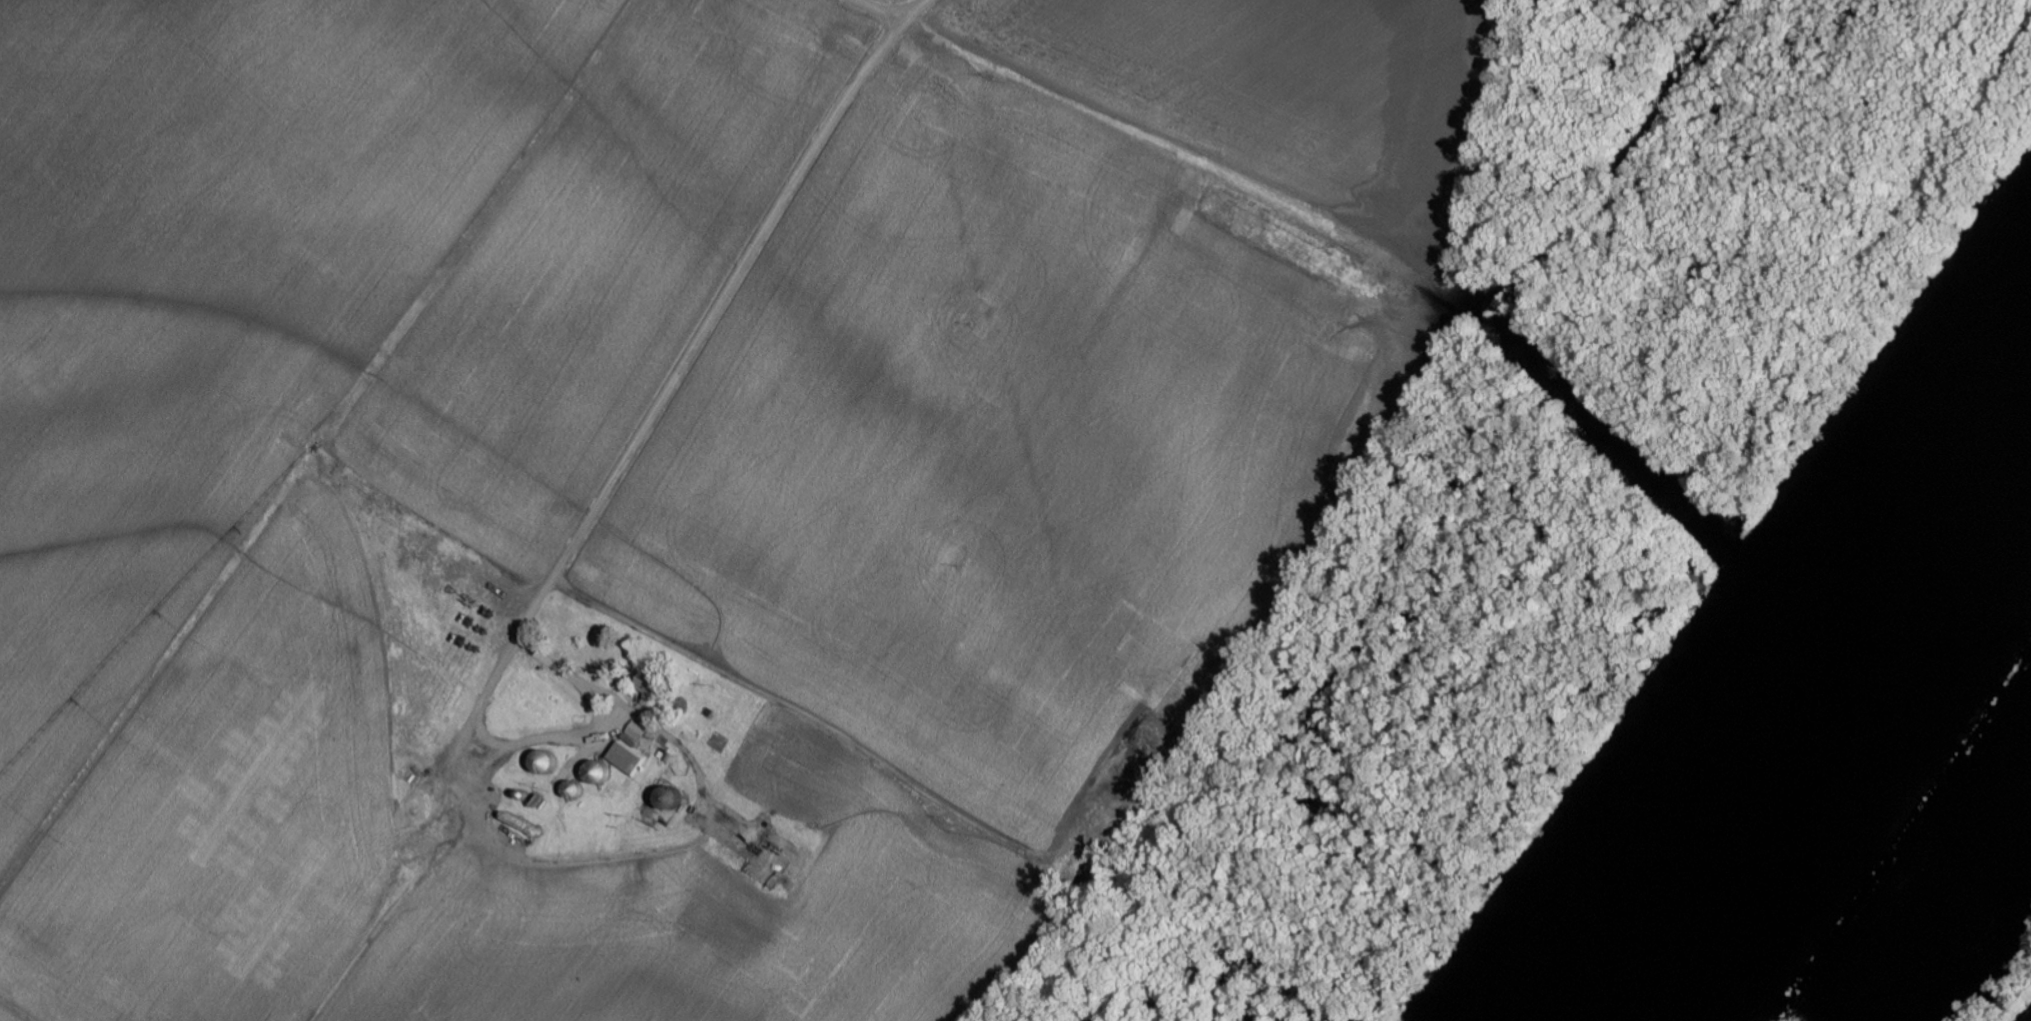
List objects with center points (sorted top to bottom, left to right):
road: (891, 11)
road: (1356, 228)
road: (617, 478)
building: (648, 685)
building: (634, 748)

